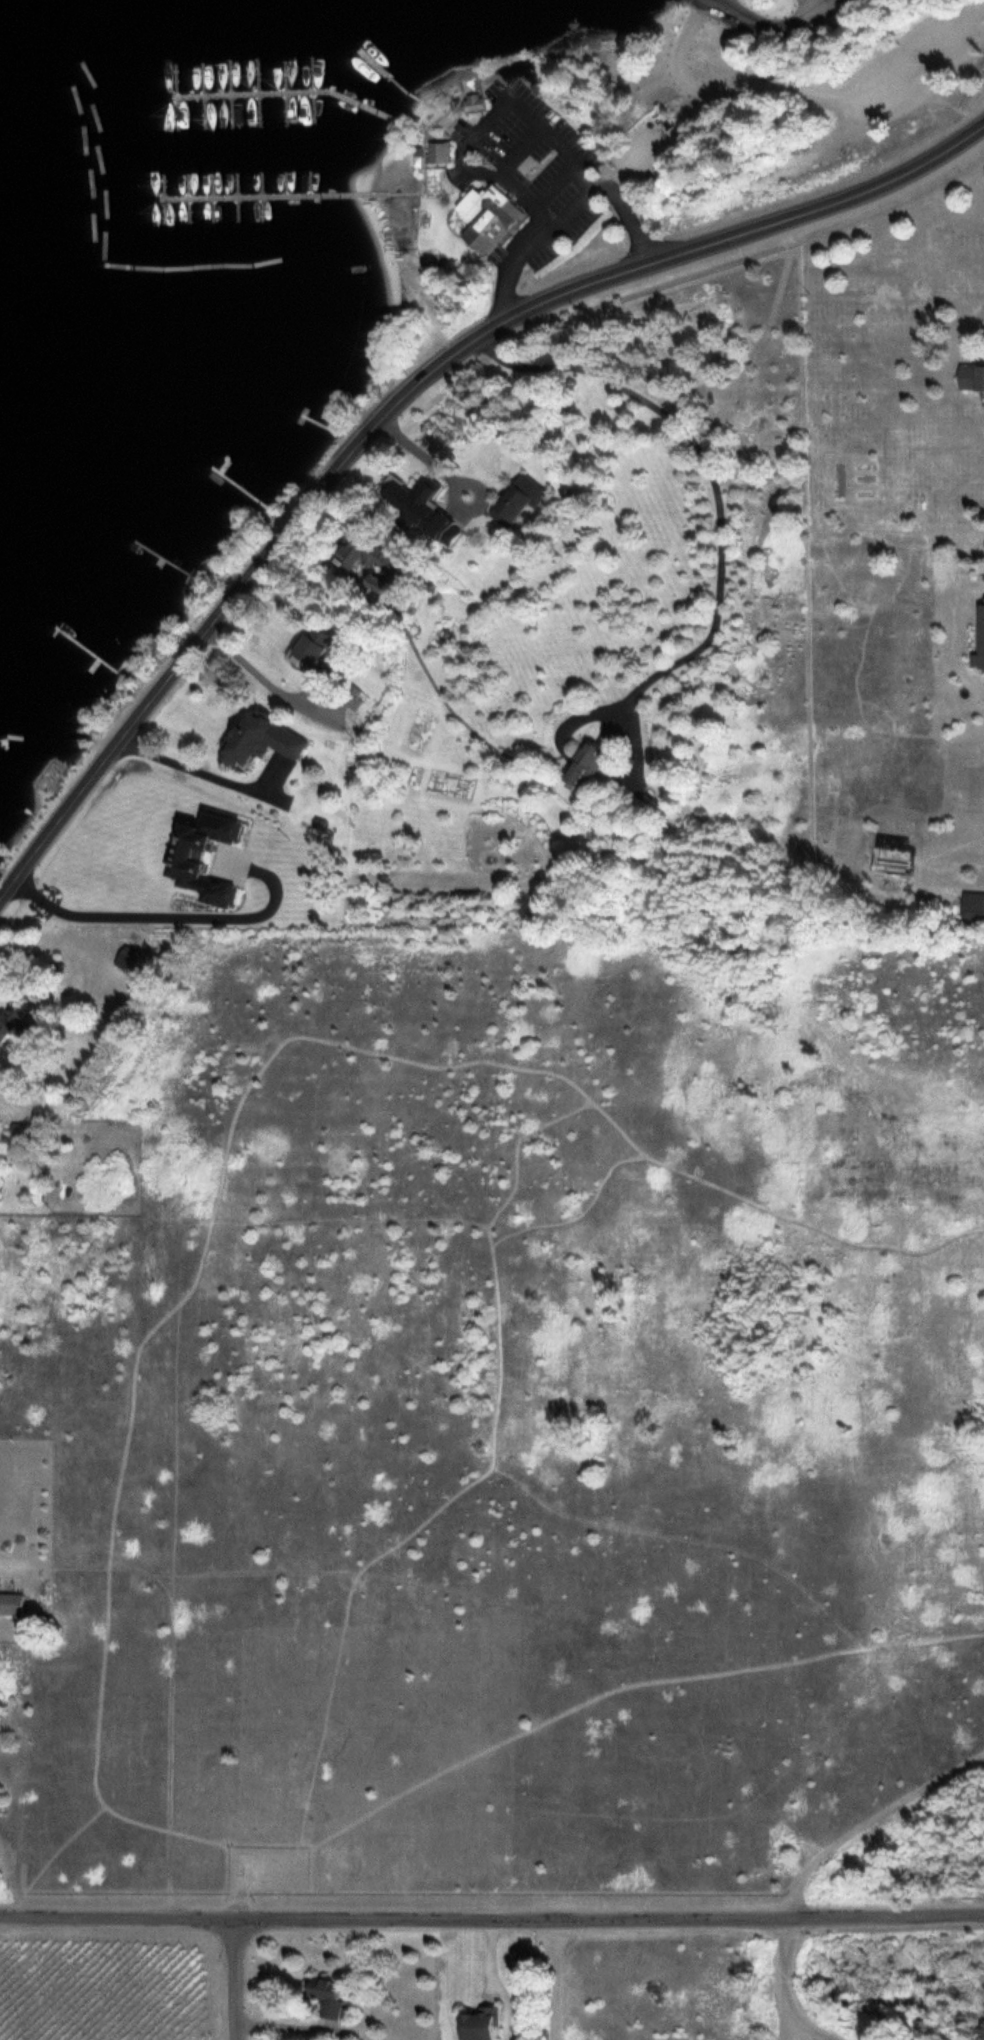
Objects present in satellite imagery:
road: (711, 1)
road: (715, 1)
parking lot: (825, 6)
road: (771, 26)
pier: (381, 70)
parking lot: (890, 86)
road: (804, 87)
pier: (290, 90)
building: (473, 101)
building: (439, 151)
parking lot: (530, 170)
pier: (278, 196)
road: (570, 206)
building: (489, 218)
building: (970, 375)
road: (404, 395)
road: (716, 486)
building: (407, 498)
building: (518, 498)
building: (366, 548)
building: (327, 651)
building: (260, 738)
building: (584, 764)
building: (973, 904)
building: (125, 956)
building: (13, 1022)
building: (26, 1131)
park: (520, 1419)
building: (12, 1603)
road: (491, 1917)
road: (232, 1979)
road: (783, 1990)
building: (324, 1994)
building: (477, 2024)

